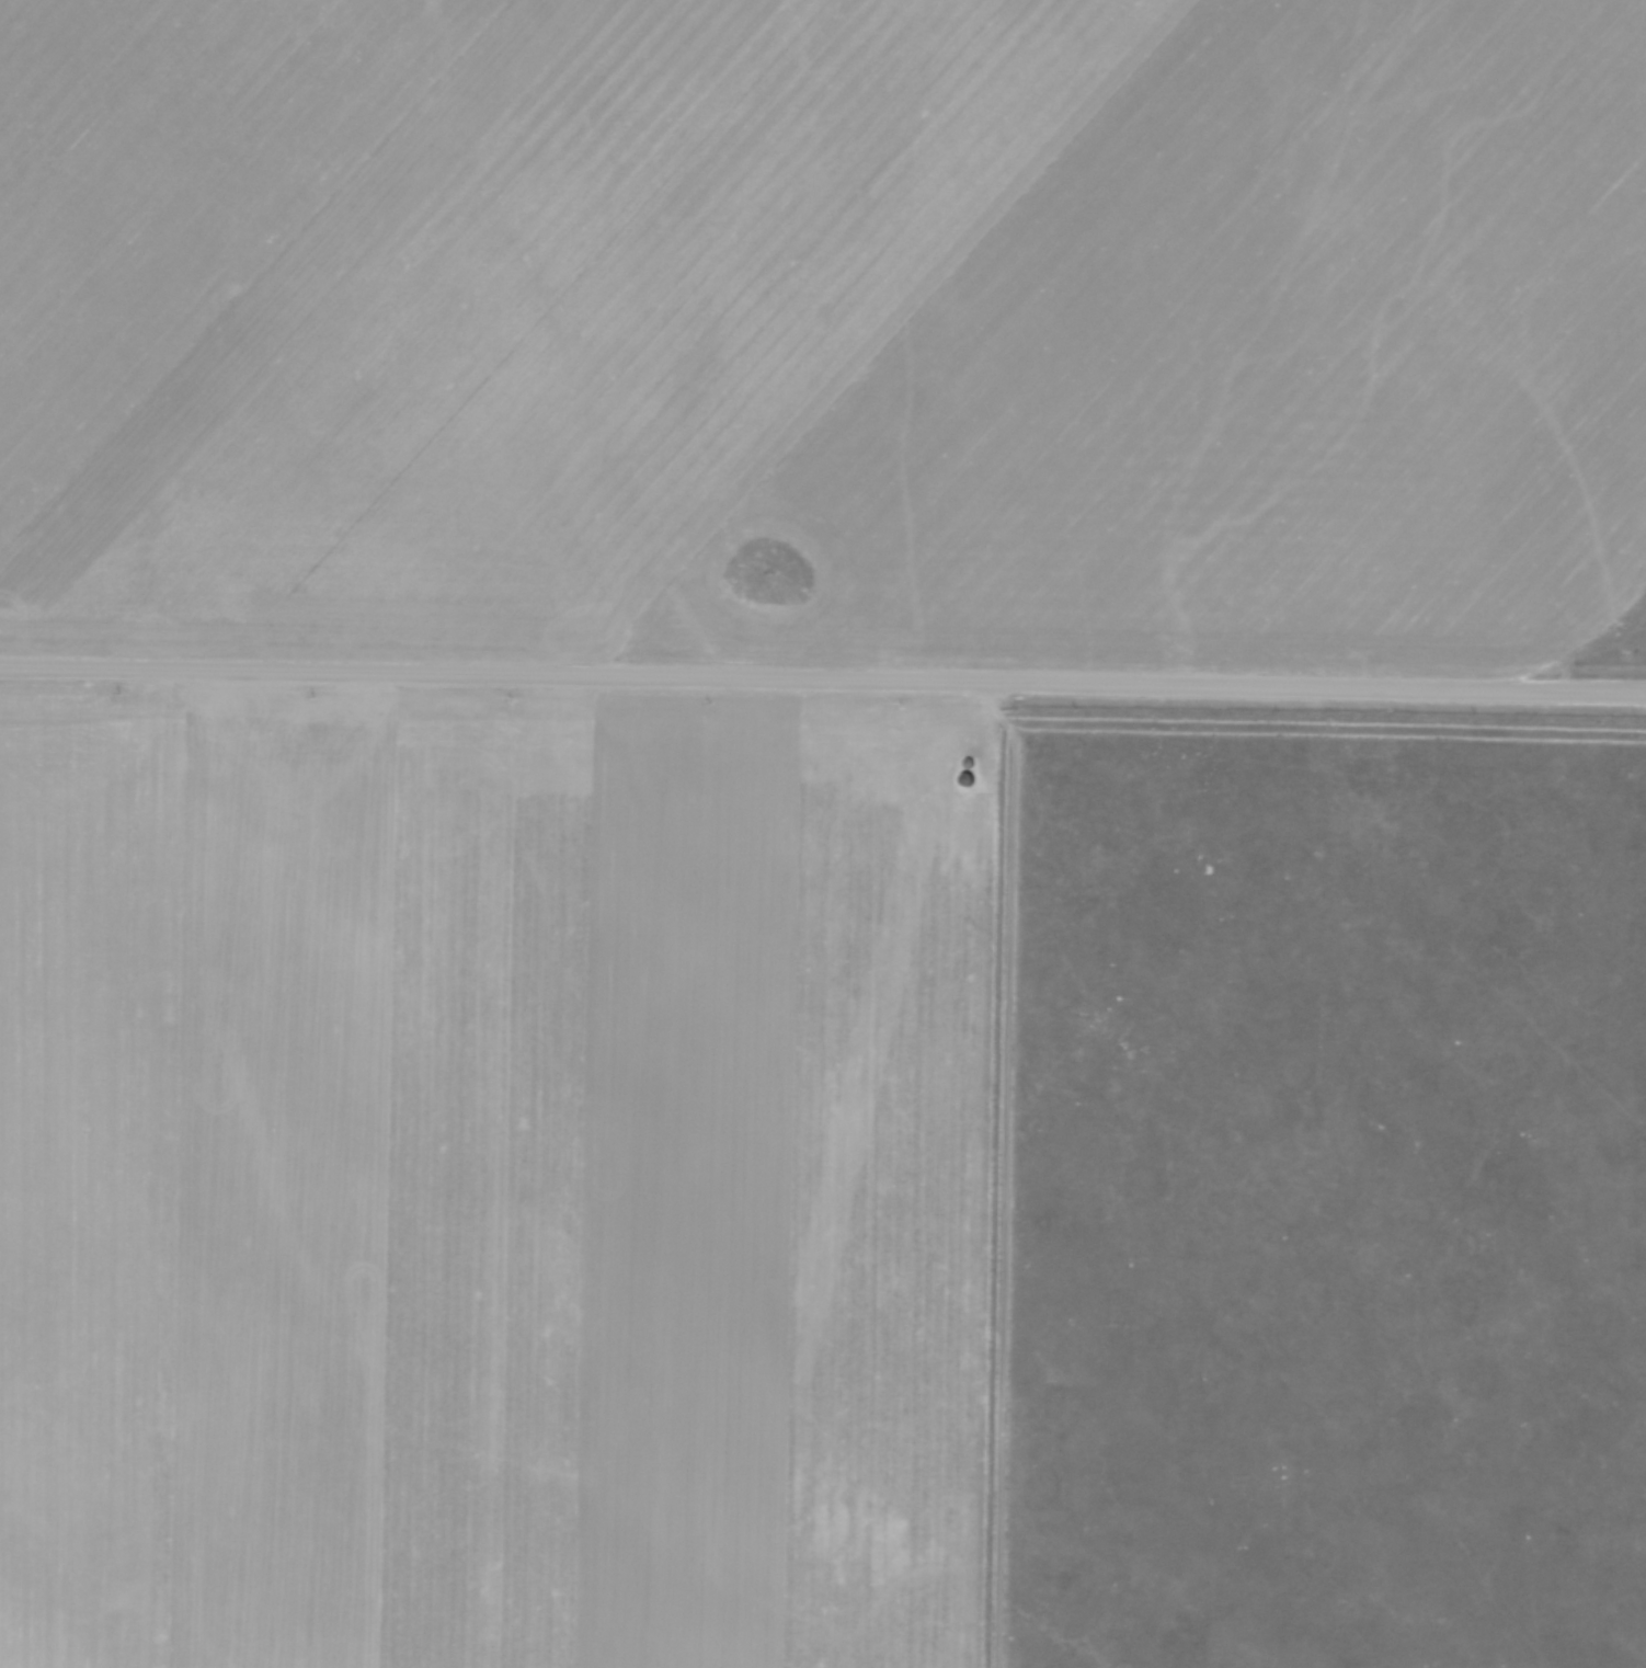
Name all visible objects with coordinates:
crop: (825, 322)
road: (823, 677)
building: (967, 779)
crop: (498, 1181)

